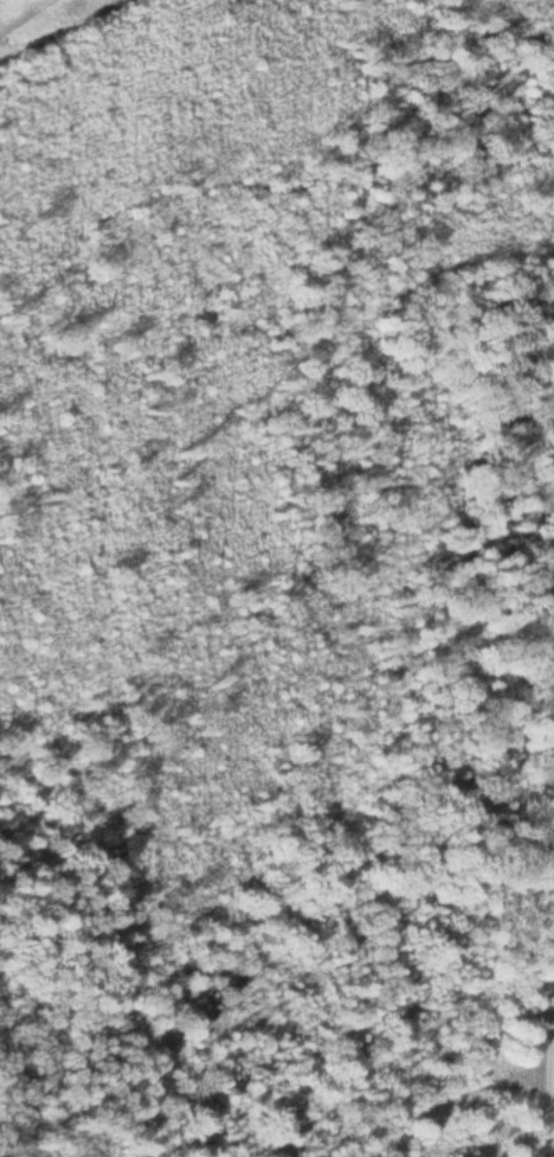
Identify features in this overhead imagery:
road: (17, 11)
road: (253, 178)
road: (439, 518)
road: (552, 977)

